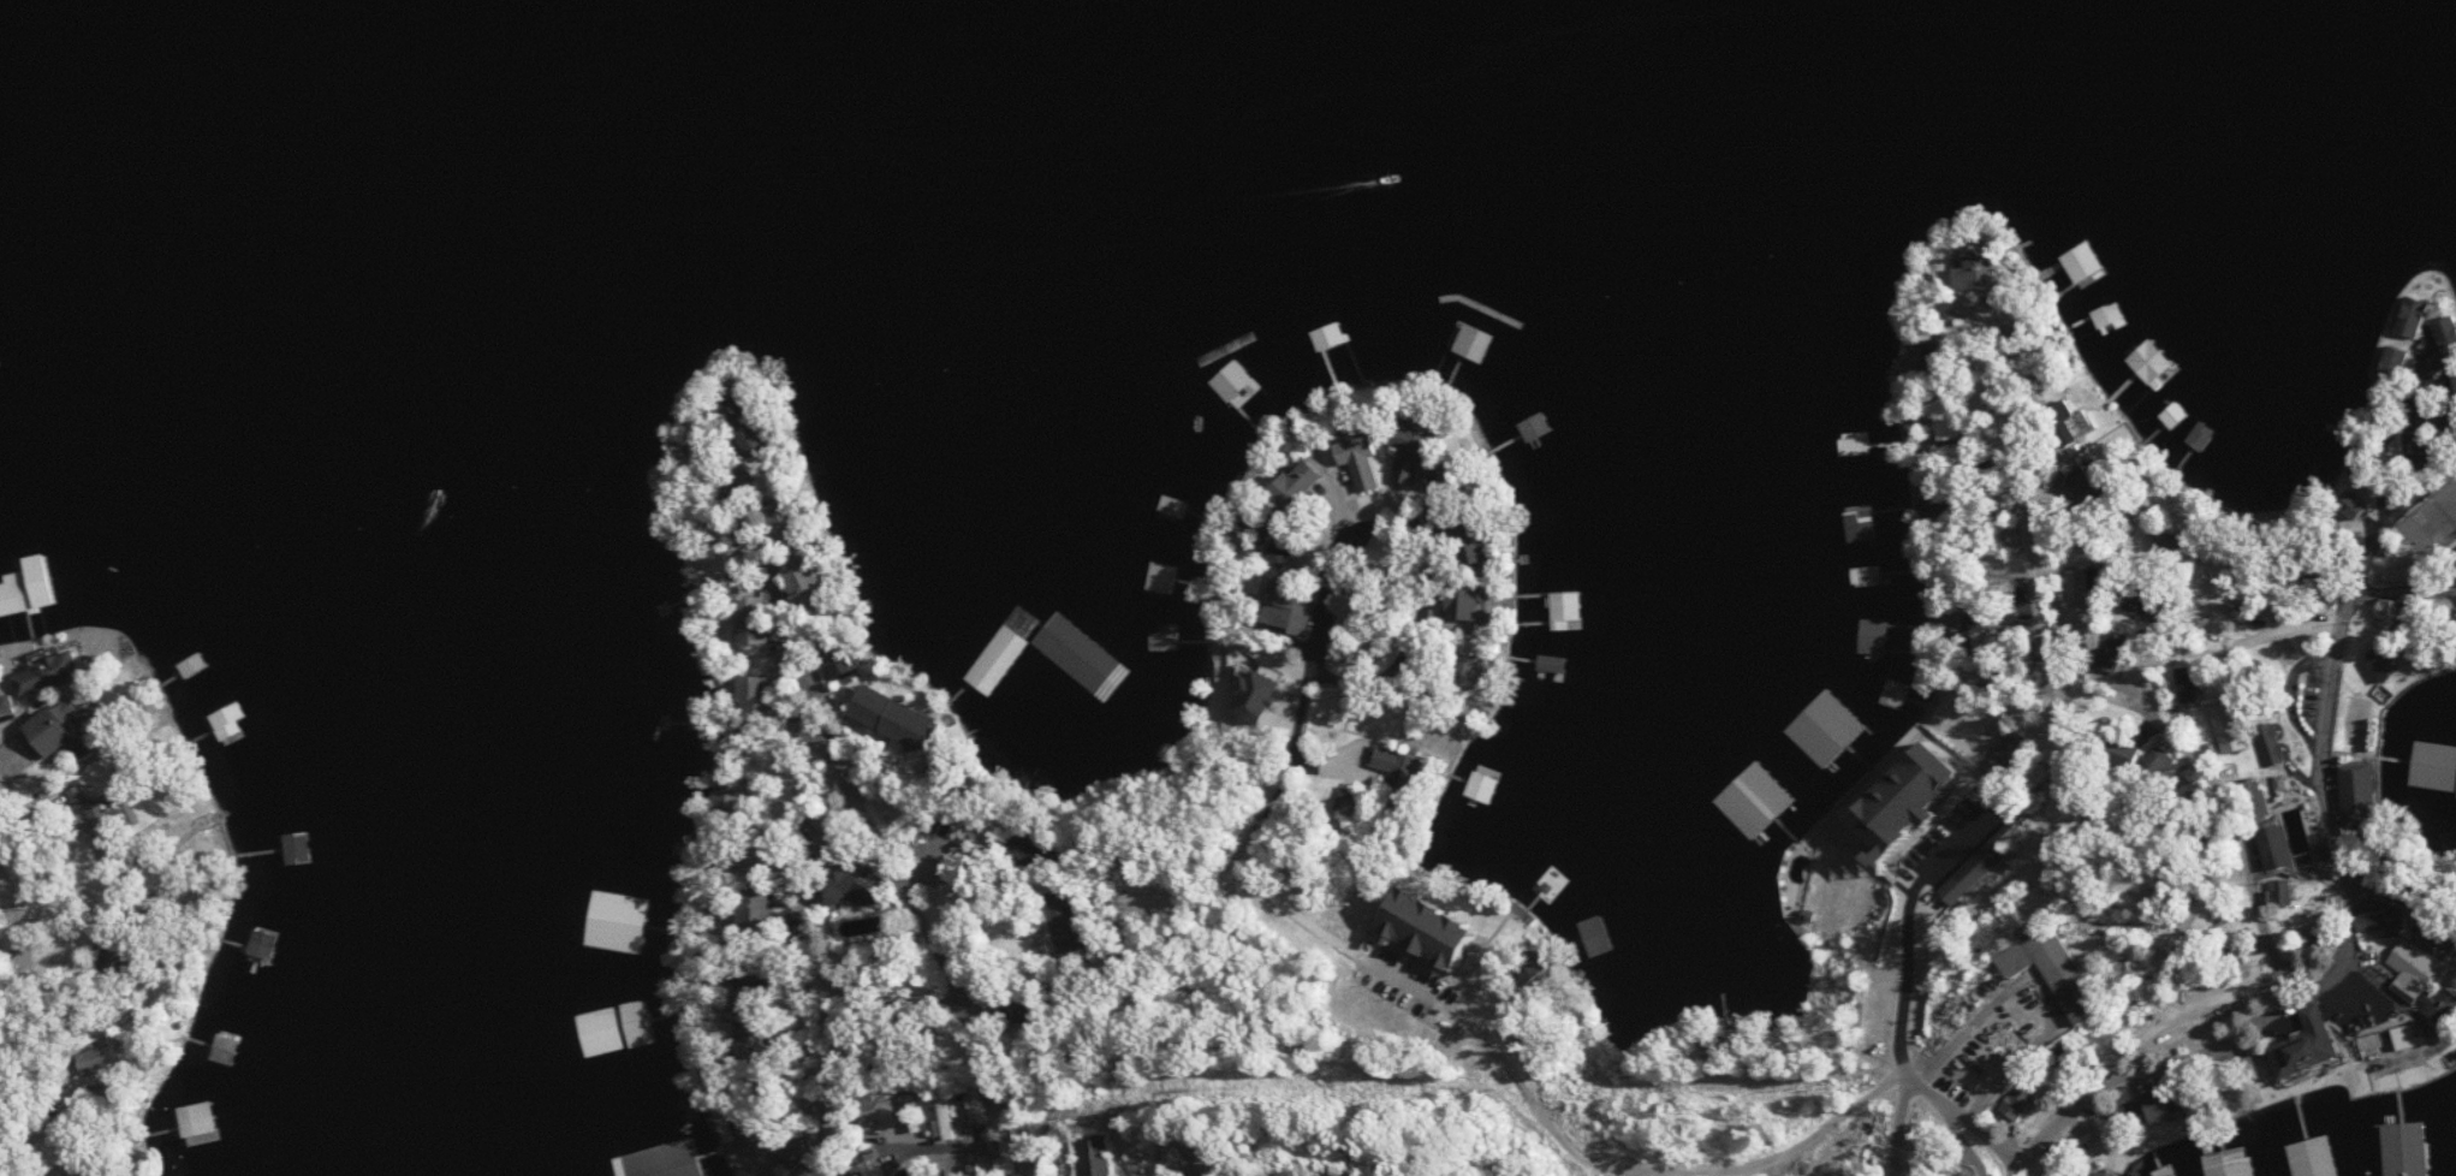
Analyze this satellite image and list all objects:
building: (2083, 261)
building: (2110, 313)
building: (2409, 315)
building: (1319, 335)
building: (1479, 356)
building: (2391, 362)
building: (2140, 367)
building: (2455, 370)
building: (1849, 374)
building: (1232, 405)
building: (2172, 414)
building: (2054, 424)
building: (1535, 427)
building: (2200, 435)
building: (1855, 445)
building: (1367, 459)
building: (1414, 459)
building: (1309, 480)
building: (1176, 504)
building: (791, 521)
building: (1861, 524)
building: (1869, 569)
road: (2030, 576)
building: (1164, 577)
building: (816, 589)
road: (2404, 590)
building: (2079, 594)
building: (20, 595)
building: (759, 598)
building: (1474, 600)
building: (1566, 608)
building: (1306, 612)
building: (20, 629)
road: (1414, 631)
building: (1875, 635)
road: (2161, 643)
building: (1051, 649)
building: (2110, 651)
building: (1551, 661)
building: (2377, 661)
building: (846, 669)
building: (54, 672)
building: (1896, 693)
building: (767, 695)
building: (233, 721)
building: (2225, 725)
building: (70, 727)
building: (1830, 727)
building: (2014, 749)
building: (2433, 760)
building: (2151, 761)
building: (1402, 765)
building: (2354, 790)
building: (2252, 796)
building: (1933, 798)
road: (2219, 801)
building: (1487, 802)
road: (880, 833)
building: (2268, 845)
building: (298, 848)
building: (2277, 891)
road: (1208, 907)
building: (771, 911)
building: (2188, 916)
building: (2379, 920)
building: (1445, 926)
road: (1903, 934)
road: (813, 942)
building: (262, 944)
building: (1720, 956)
building: (2064, 968)
building: (2412, 969)
road: (2338, 978)
building: (1972, 1010)
road: (1453, 1014)
road: (18, 1016)
building: (620, 1031)
building: (226, 1047)
building: (2309, 1053)
building: (2024, 1100)
building: (945, 1119)
building: (198, 1121)
road: (1966, 1123)
road: (1903, 1130)
road: (1809, 1135)
road: (1037, 1141)
road: (777, 1146)
road: (898, 1146)
building: (2406, 1148)
building: (1094, 1156)
building: (2317, 1156)
building: (1007, 1157)
building: (667, 1159)
building: (2226, 1162)
building: (1318, 1174)
road: (1717, 1174)
building: (1975, 1174)
building: (2100, 1175)

